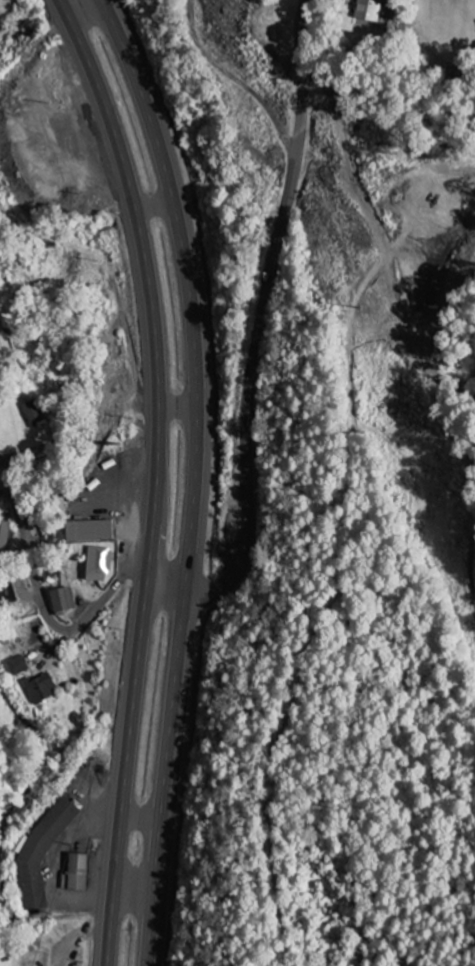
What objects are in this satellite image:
building: (366, 11)
road: (237, 80)
road: (155, 204)
road: (188, 284)
power tower: (362, 307)
road: (264, 315)
road: (178, 403)
building: (32, 411)
road: (156, 476)
building: (6, 531)
building: (85, 531)
building: (96, 563)
building: (61, 600)
road: (53, 621)
building: (18, 666)
building: (40, 688)
road: (164, 773)
road: (141, 811)
building: (41, 851)
building: (74, 873)
road: (133, 882)

